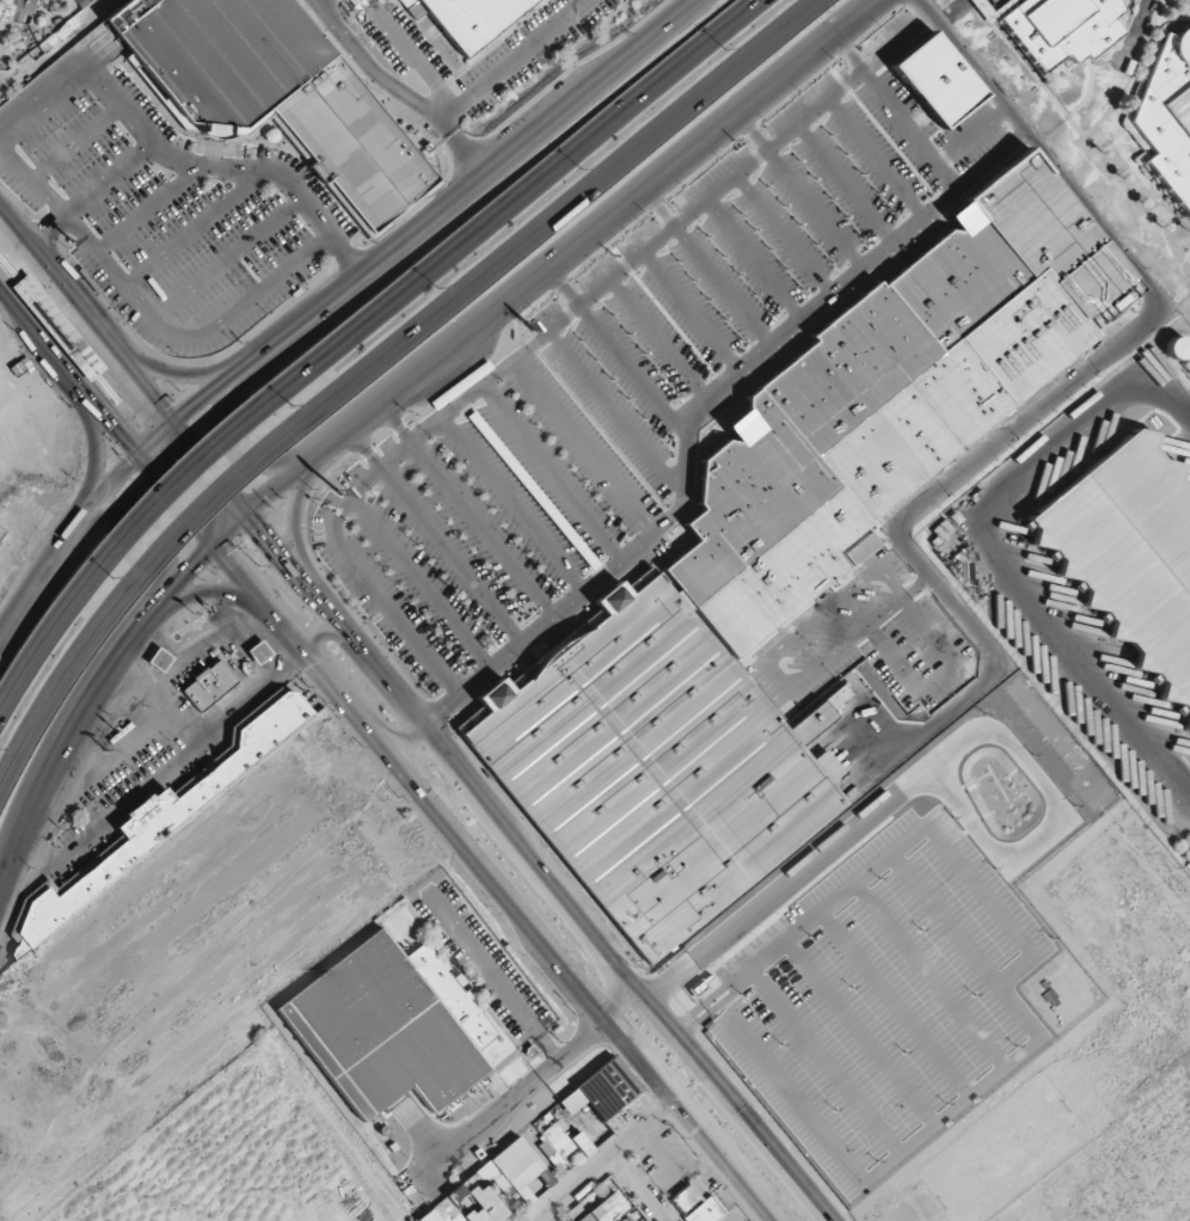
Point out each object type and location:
parking lot: (166, 203)
parking lot: (754, 264)
parking lot: (467, 532)
gas station: (257, 655)
gas station: (158, 662)

